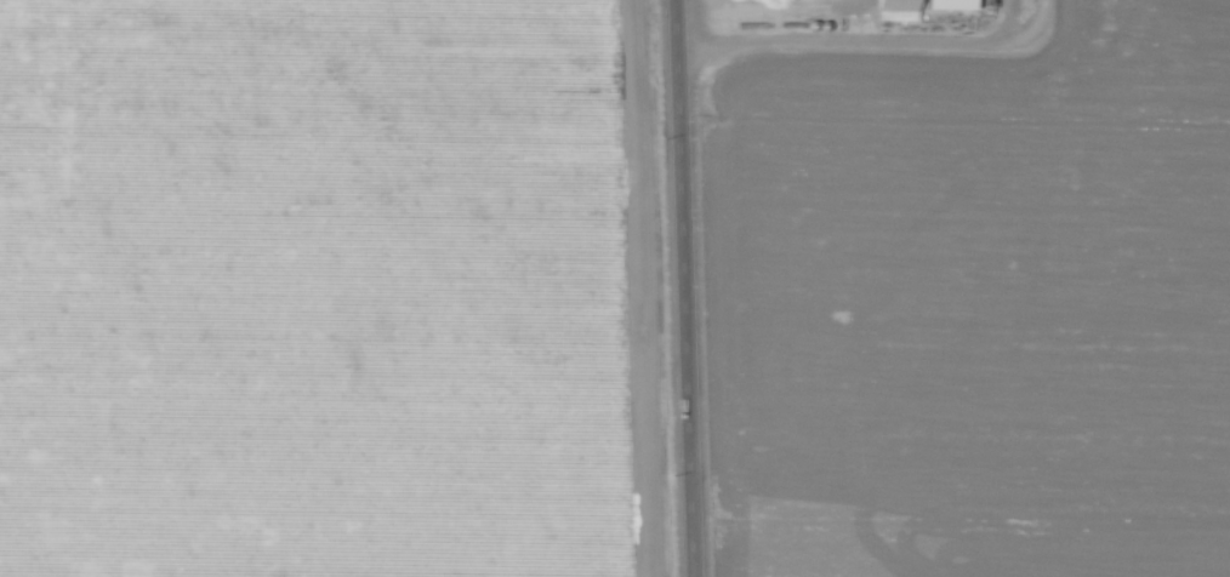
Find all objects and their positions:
building: (921, 7)
road: (861, 47)
road: (685, 288)

